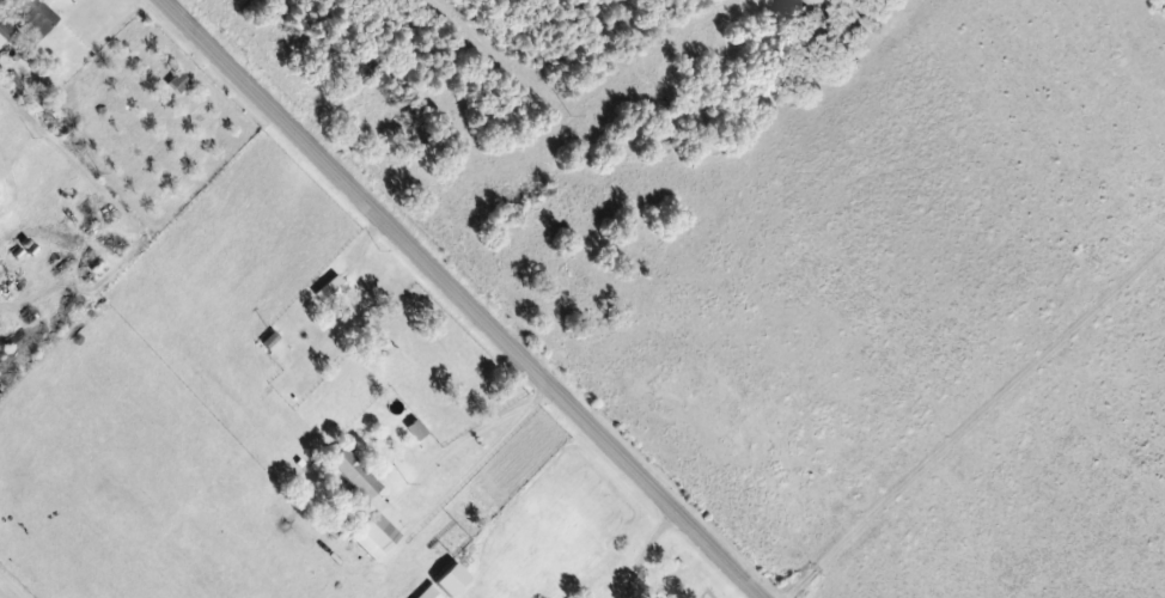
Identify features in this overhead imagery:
building: (33, 17)
building: (4, 30)
building: (177, 83)
building: (328, 292)
road: (459, 297)
building: (414, 429)
building: (364, 505)
road: (426, 505)
building: (449, 579)
building: (426, 593)

